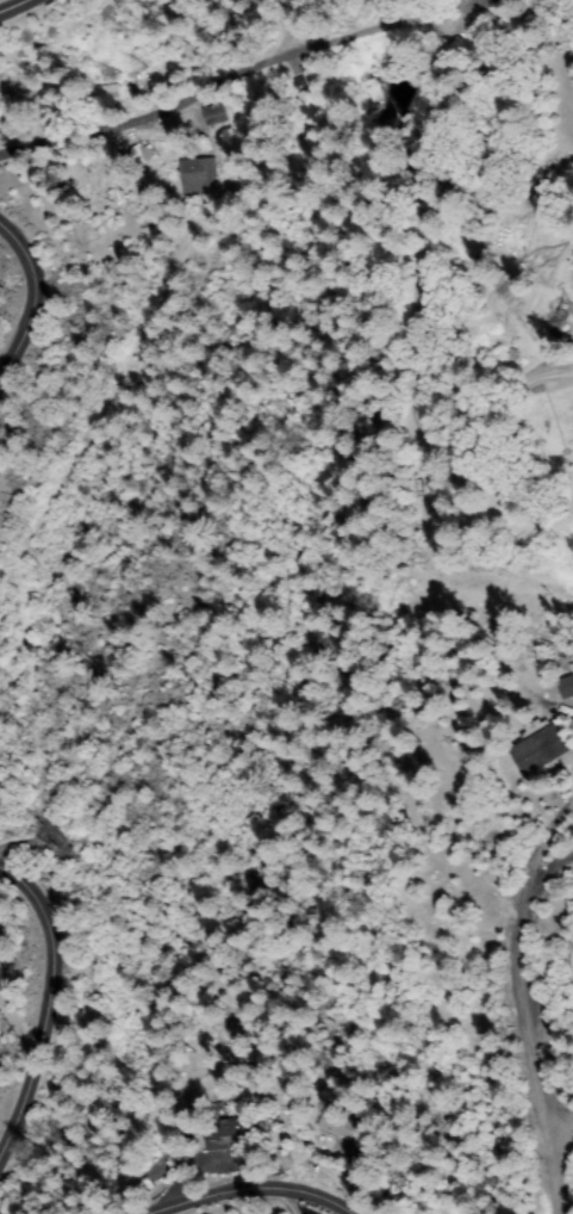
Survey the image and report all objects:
road: (15, 8)
road: (418, 32)
building: (303, 86)
building: (105, 95)
building: (216, 113)
building: (444, 131)
building: (136, 156)
building: (199, 175)
road: (27, 303)
building: (559, 320)
building: (548, 649)
building: (566, 686)
building: (537, 748)
road: (37, 1005)
road: (518, 1022)
building: (338, 1122)
road: (556, 1129)
building: (239, 1135)
road: (241, 1194)

